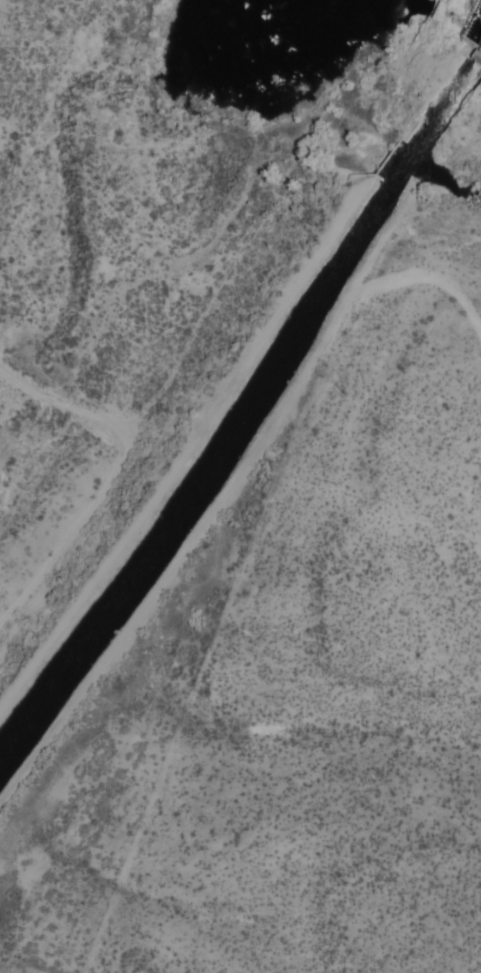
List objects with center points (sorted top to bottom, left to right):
river: (464, 4)
dam: (465, 16)
river: (65, 80)
road: (441, 283)

